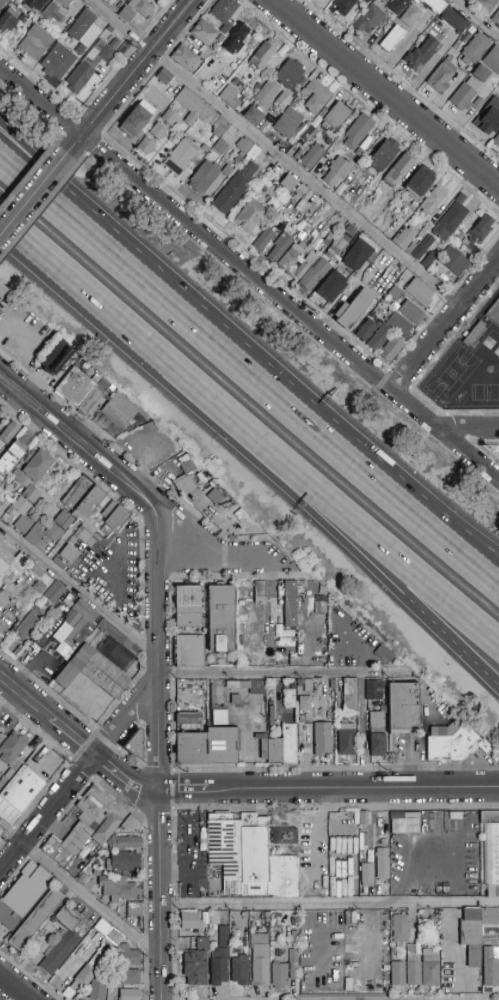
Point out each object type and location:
building: (391, 0)
building: (105, 1)
building: (367, 1)
building: (3, 3)
building: (63, 3)
building: (34, 4)
building: (435, 5)
building: (487, 5)
building: (344, 6)
building: (398, 6)
building: (141, 7)
building: (53, 13)
building: (224, 13)
building: (126, 14)
building: (412, 15)
building: (496, 17)
building: (370, 18)
road: (475, 18)
building: (454, 19)
building: (8, 20)
building: (81, 25)
building: (470, 31)
building: (204, 33)
building: (236, 37)
building: (392, 39)
building: (36, 43)
building: (458, 43)
building: (475, 48)
building: (81, 49)
building: (378, 50)
building: (263, 54)
building: (421, 54)
building: (184, 57)
building: (493, 59)
building: (450, 60)
building: (58, 62)
building: (89, 66)
road: (133, 72)
building: (290, 73)
building: (481, 73)
building: (164, 77)
building: (441, 77)
building: (236, 83)
building: (300, 83)
road: (385, 92)
building: (267, 93)
building: (228, 95)
building: (315, 95)
building: (466, 96)
building: (284, 99)
building: (495, 100)
building: (164, 106)
building: (195, 108)
building: (254, 115)
building: (335, 116)
building: (170, 117)
building: (136, 120)
building: (489, 121)
building: (288, 123)
building: (220, 127)
building: (159, 131)
building: (358, 131)
building: (309, 134)
building: (496, 140)
building: (146, 145)
building: (244, 145)
building: (220, 147)
building: (302, 147)
building: (363, 147)
building: (253, 152)
road: (275, 153)
building: (384, 155)
building: (180, 157)
building: (239, 157)
building: (311, 157)
building: (399, 169)
building: (337, 171)
building: (209, 178)
building: (288, 183)
building: (419, 183)
building: (234, 189)
road: (37, 191)
building: (461, 199)
building: (433, 202)
road: (77, 207)
building: (250, 216)
building: (450, 221)
building: (425, 230)
building: (480, 230)
building: (302, 235)
building: (404, 238)
building: (264, 239)
building: (327, 240)
building: (342, 240)
building: (307, 242)
building: (316, 244)
building: (280, 247)
building: (423, 247)
building: (411, 249)
building: (473, 250)
building: (360, 254)
building: (291, 256)
building: (429, 259)
building: (453, 261)
building: (304, 266)
building: (437, 271)
road: (249, 272)
building: (314, 274)
building: (331, 287)
building: (2, 290)
building: (395, 293)
building: (419, 293)
building: (403, 296)
building: (354, 309)
building: (378, 311)
building: (411, 312)
building: (494, 314)
building: (399, 325)
road: (445, 325)
building: (367, 330)
building: (475, 335)
building: (379, 338)
road: (157, 349)
building: (392, 349)
building: (54, 356)
road: (249, 373)
building: (88, 390)
building: (124, 411)
road: (468, 428)
building: (9, 433)
road: (80, 446)
building: (14, 461)
building: (181, 483)
building: (30, 486)
road: (408, 490)
building: (93, 497)
building: (121, 516)
building: (109, 517)
building: (50, 529)
building: (92, 537)
road: (362, 541)
building: (68, 553)
road: (211, 554)
building: (8, 559)
road: (407, 565)
building: (38, 588)
road: (77, 588)
building: (54, 592)
building: (259, 592)
building: (318, 598)
building: (287, 602)
building: (187, 607)
building: (296, 607)
building: (86, 617)
building: (220, 619)
building: (26, 627)
building: (4, 637)
road: (453, 640)
building: (189, 651)
road: (160, 652)
building: (99, 673)
road: (282, 673)
building: (308, 686)
building: (374, 690)
building: (350, 696)
building: (305, 705)
building: (412, 706)
building: (215, 716)
road: (361, 731)
building: (196, 734)
building: (377, 734)
building: (305, 736)
building: (322, 738)
building: (346, 739)
road: (75, 740)
building: (3, 741)
building: (227, 741)
building: (131, 744)
building: (457, 745)
building: (287, 751)
road: (81, 774)
road: (329, 790)
building: (24, 792)
building: (360, 816)
building: (106, 818)
building: (407, 828)
building: (284, 837)
building: (126, 843)
building: (491, 854)
building: (59, 855)
building: (242, 858)
building: (123, 862)
building: (383, 864)
building: (367, 875)
building: (287, 881)
building: (117, 887)
road: (78, 889)
road: (159, 895)
building: (24, 901)
road: (329, 904)
building: (30, 919)
building: (193, 921)
building: (474, 931)
building: (202, 943)
building: (61, 946)
building: (128, 956)
building: (221, 958)
building: (412, 958)
building: (260, 960)
building: (490, 967)
building: (195, 968)
building: (240, 971)
building: (284, 972)
building: (89, 976)
building: (129, 978)
road: (16, 986)
building: (129, 995)

